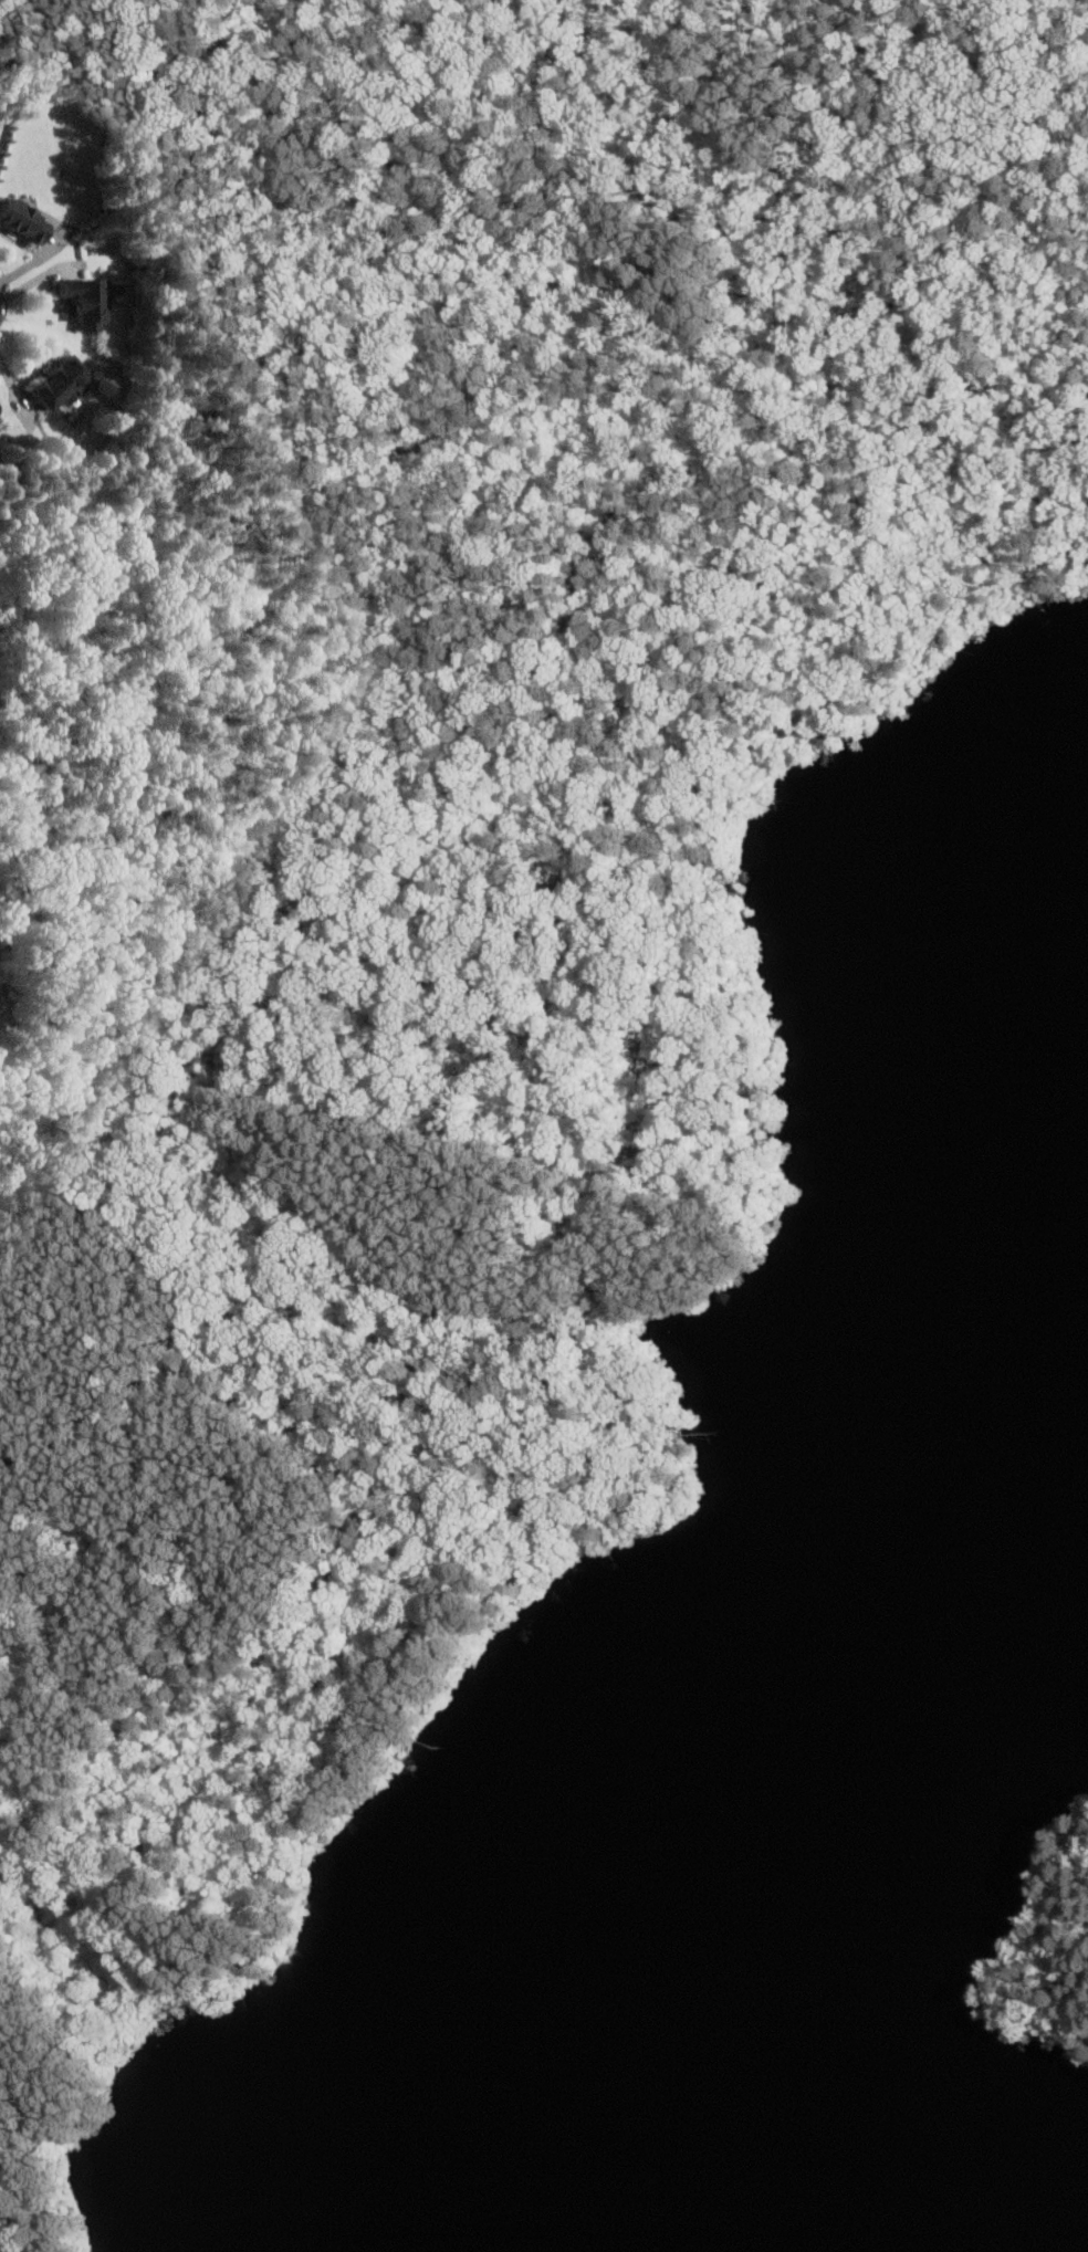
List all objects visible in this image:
building: (25, 218)
building: (87, 300)
building: (63, 381)
road: (15, 384)
road: (363, 731)
road: (536, 1297)
park: (1081, 1949)
road: (14, 2220)

